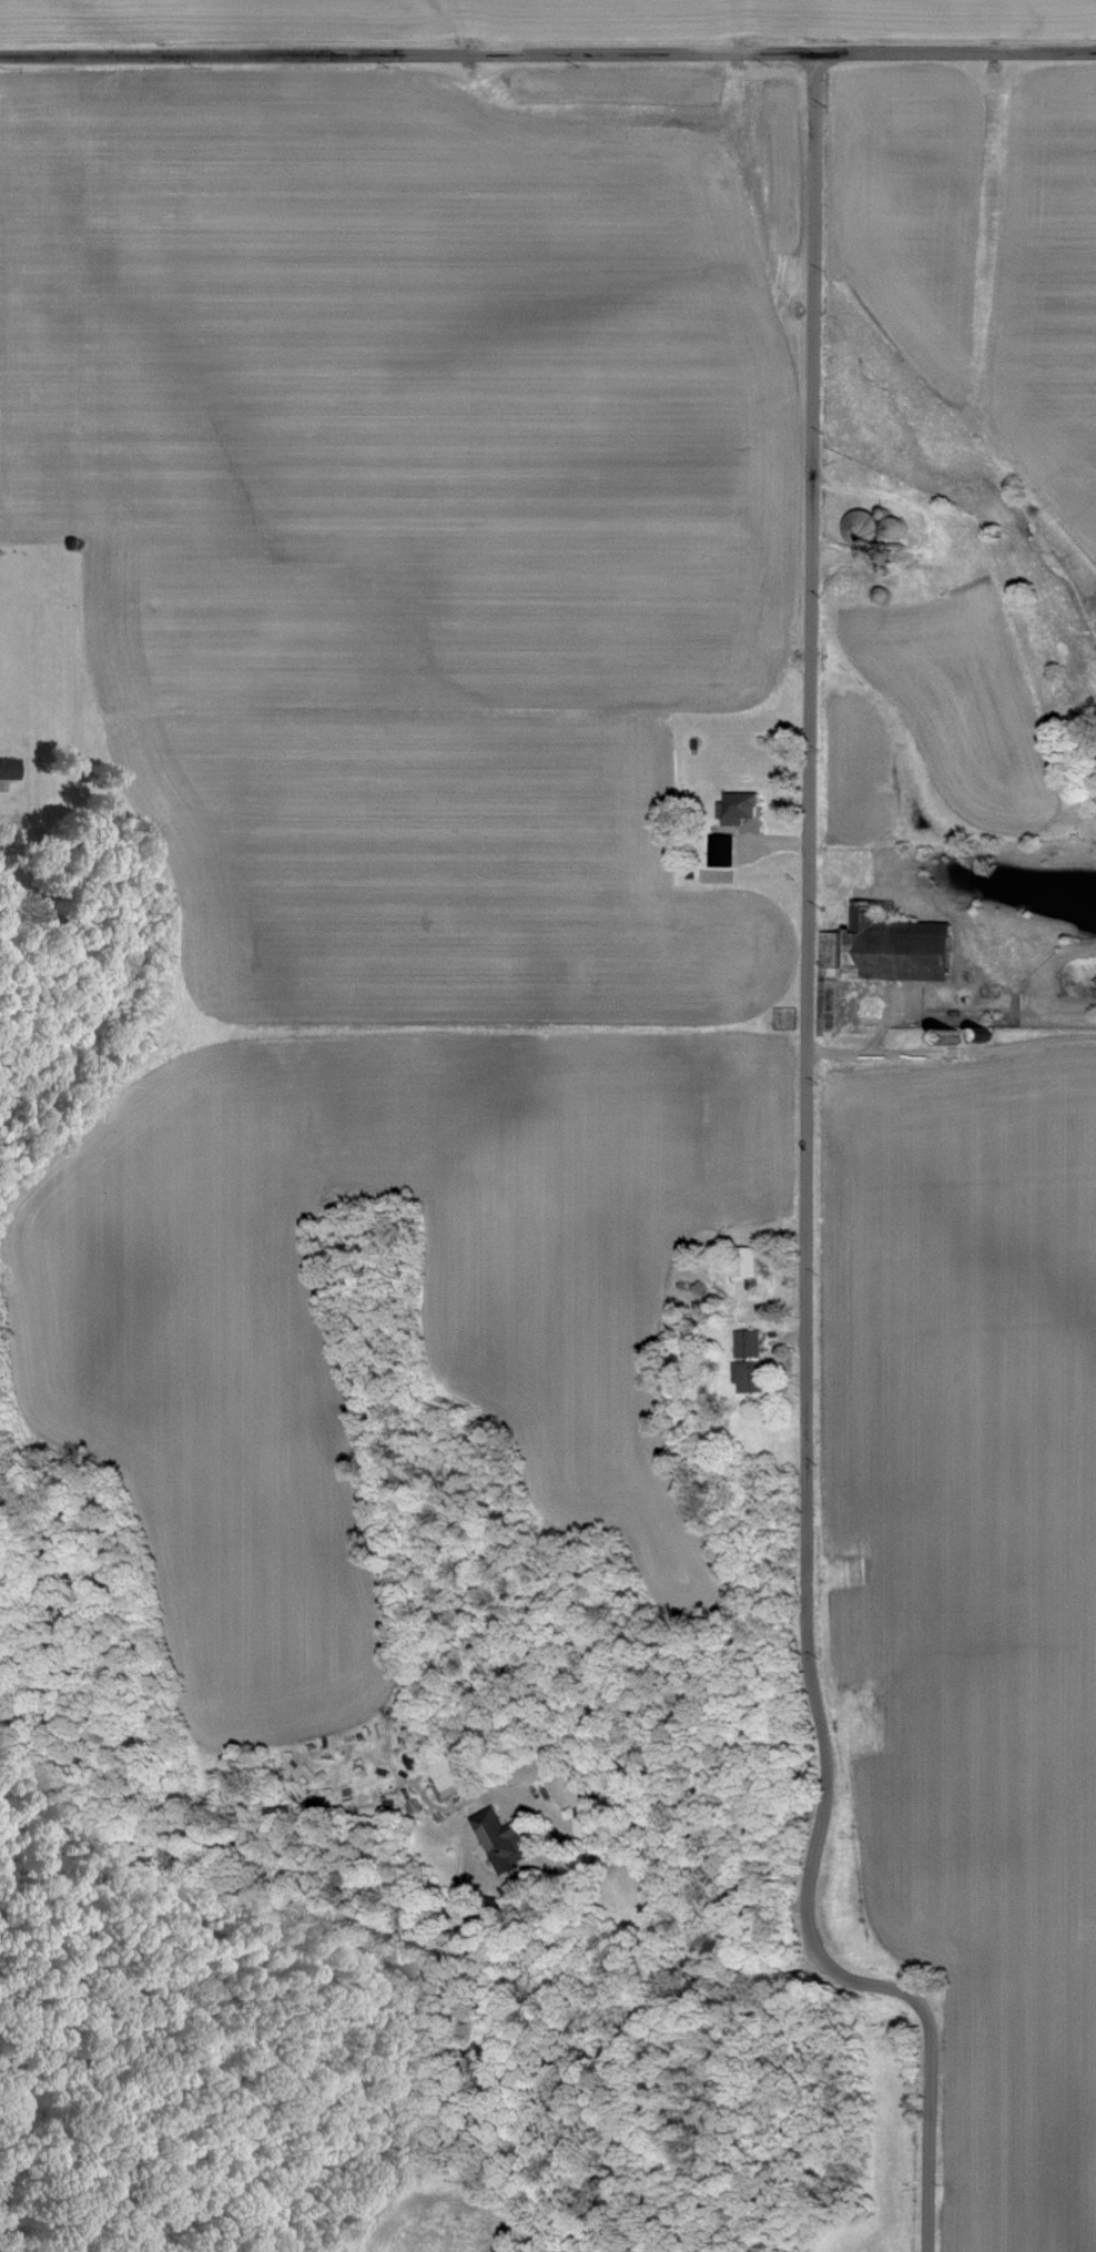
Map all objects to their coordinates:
road: (548, 54)
building: (861, 526)
building: (893, 527)
building: (8, 768)
building: (735, 807)
building: (719, 850)
building: (875, 954)
road: (950, 1052)
road: (804, 1190)
building: (743, 1262)
building: (748, 1362)
building: (443, 1777)
building: (498, 1839)

